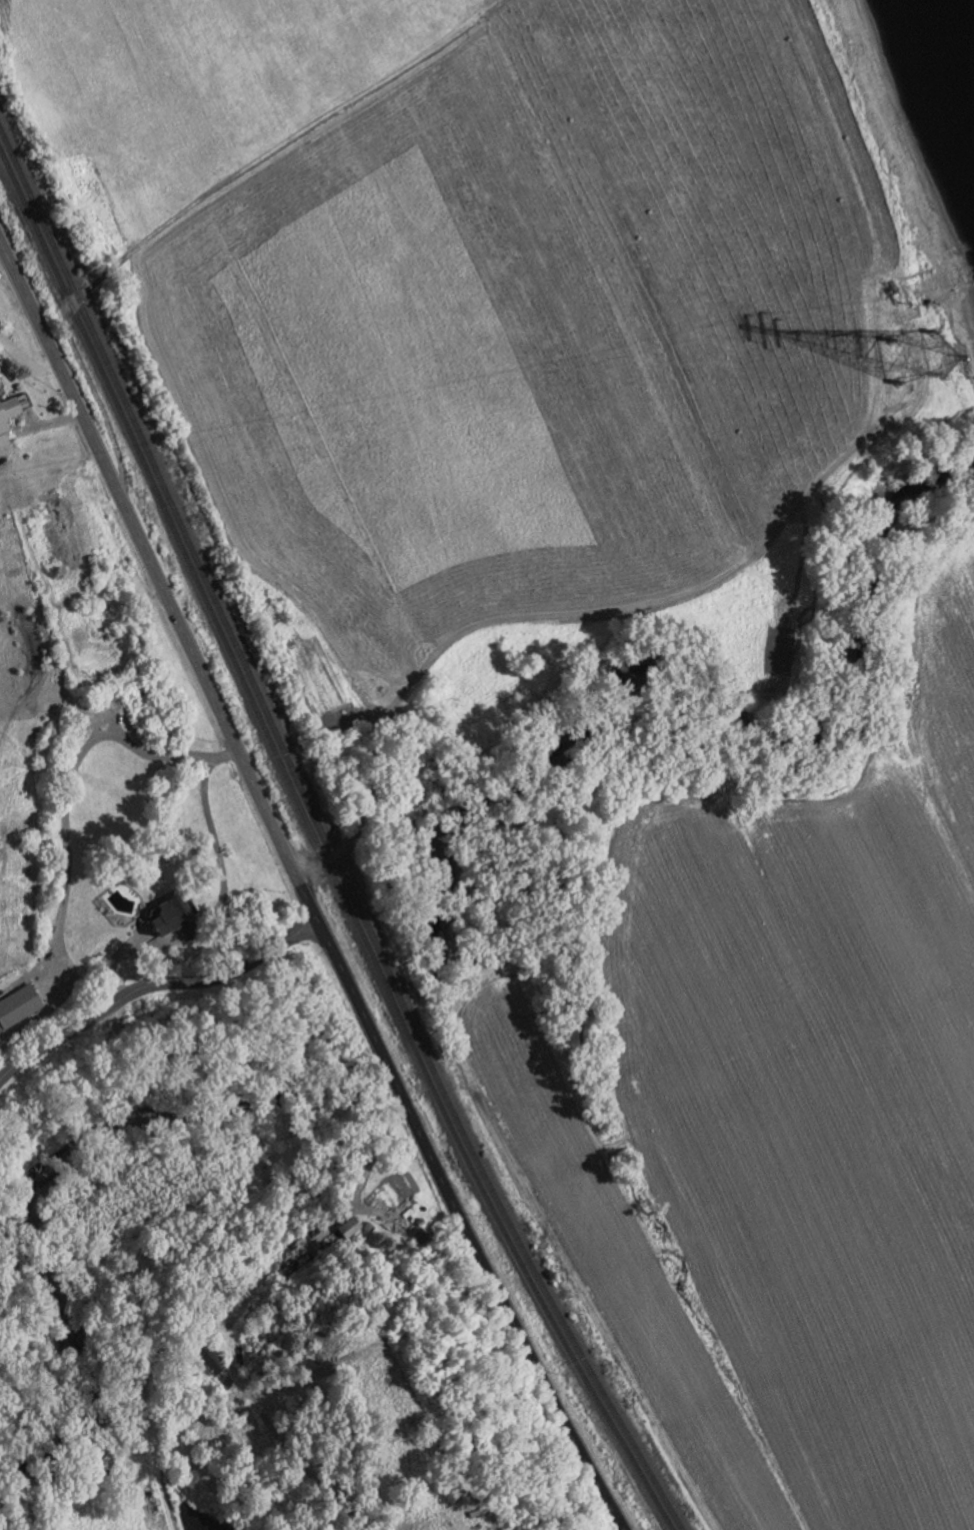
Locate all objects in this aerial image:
road: (296, 136)
crop: (486, 291)
road: (72, 303)
power tower: (915, 351)
road: (27, 363)
road: (496, 621)
road: (68, 779)
road: (214, 830)
railway: (324, 840)
railway: (319, 851)
road: (303, 893)
road: (152, 984)
crop: (770, 1116)

